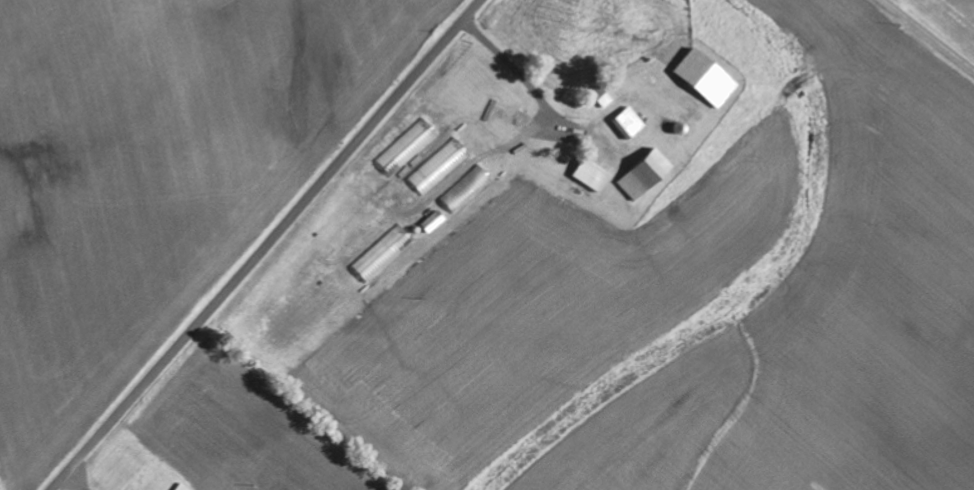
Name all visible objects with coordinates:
road: (930, 34)
building: (703, 79)
building: (600, 98)
building: (626, 124)
building: (406, 149)
building: (438, 168)
building: (641, 175)
building: (588, 176)
building: (464, 191)
building: (431, 223)
road: (266, 244)
building: (382, 255)
building: (181, 488)

